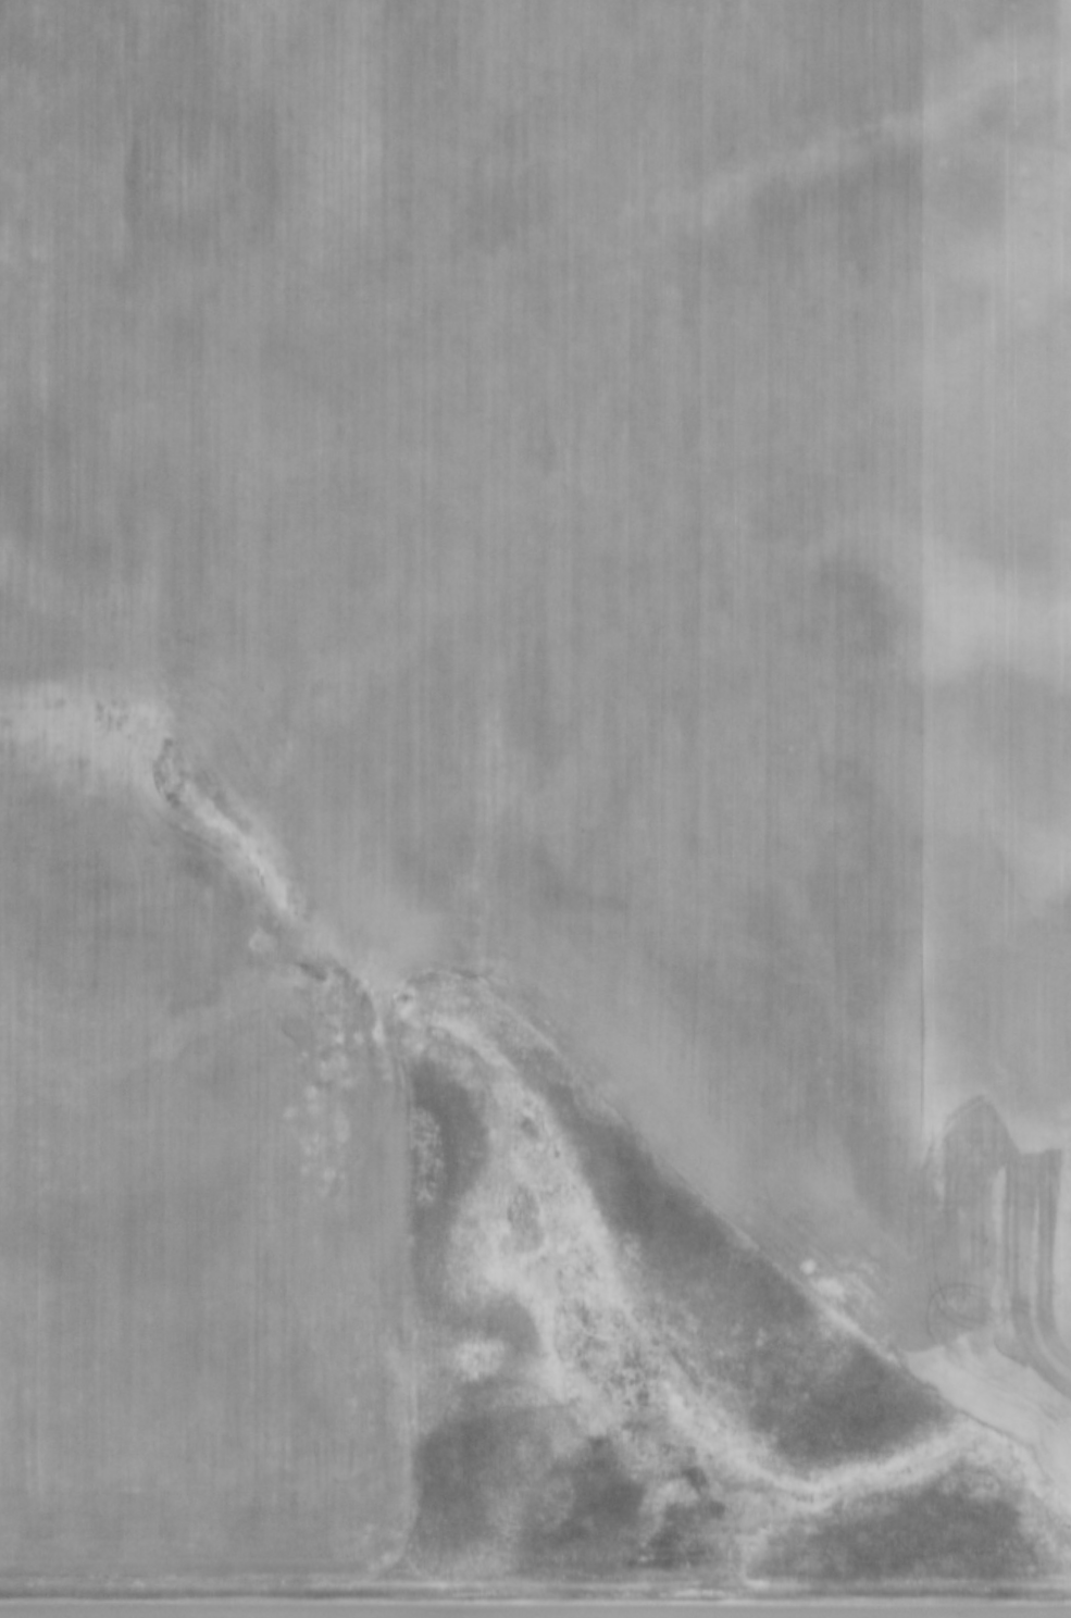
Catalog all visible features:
road: (535, 1616)

